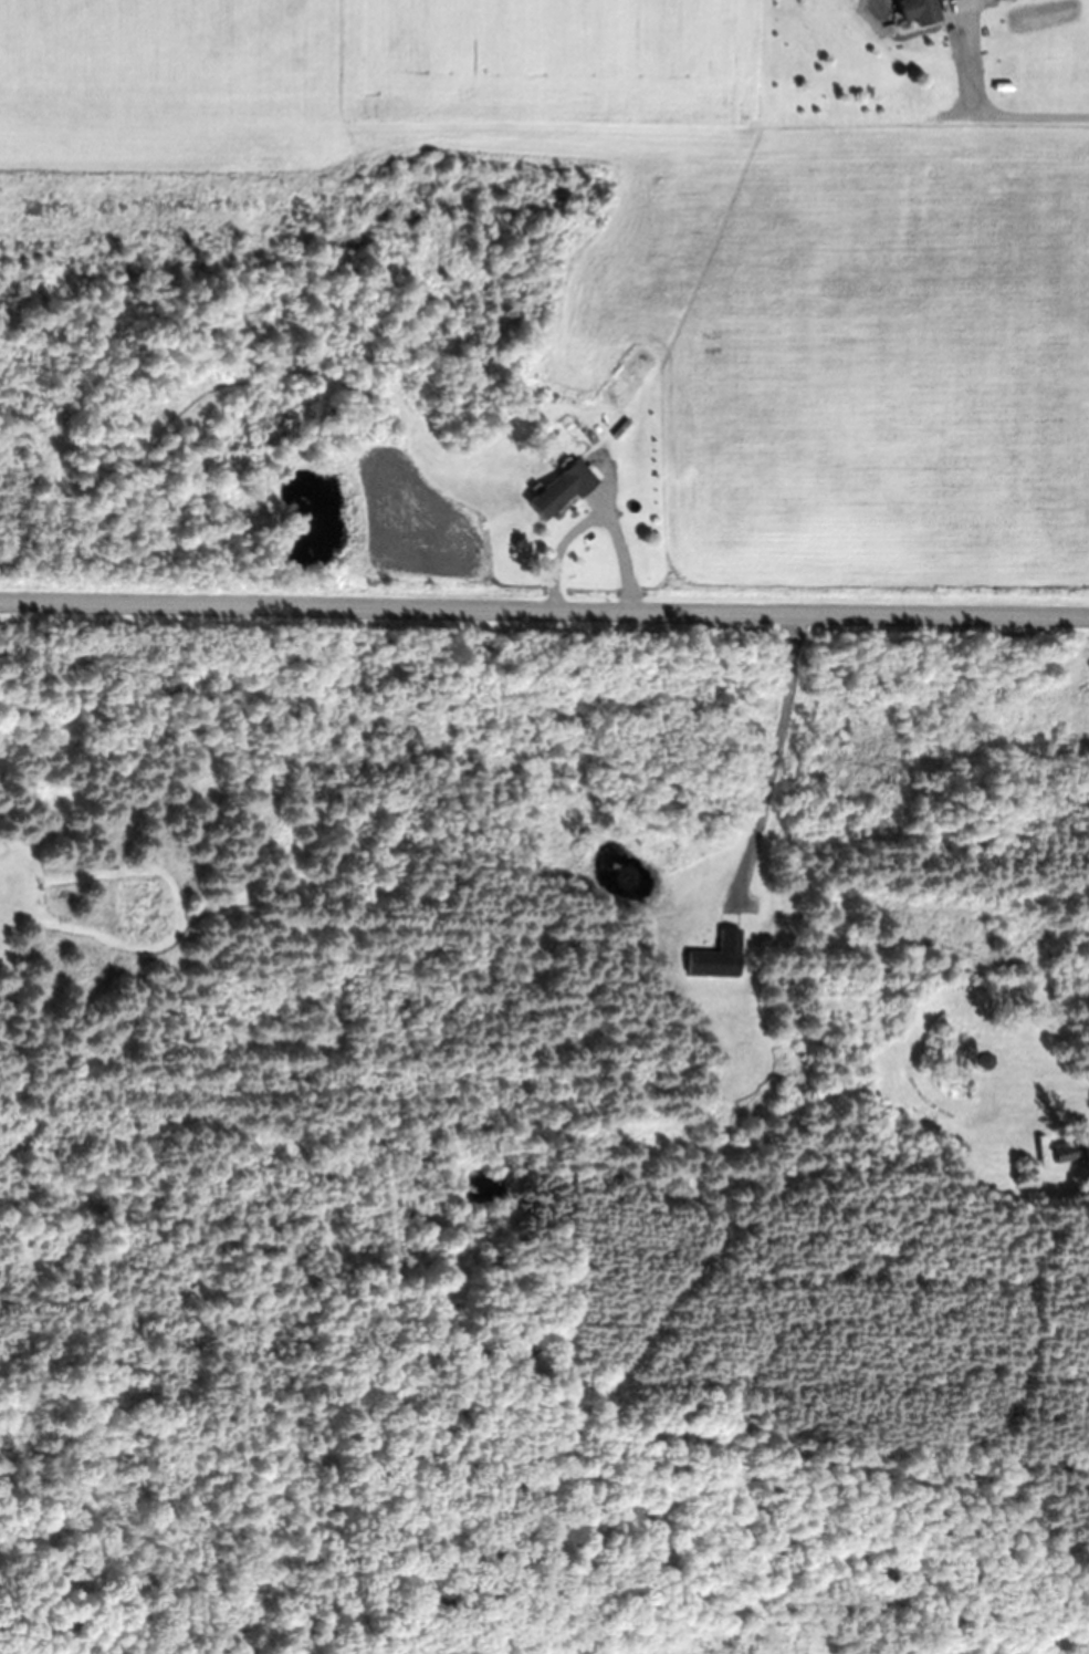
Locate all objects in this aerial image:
building: (920, 10)
building: (563, 488)
road: (544, 605)
building: (985, 1061)
building: (1070, 1151)

